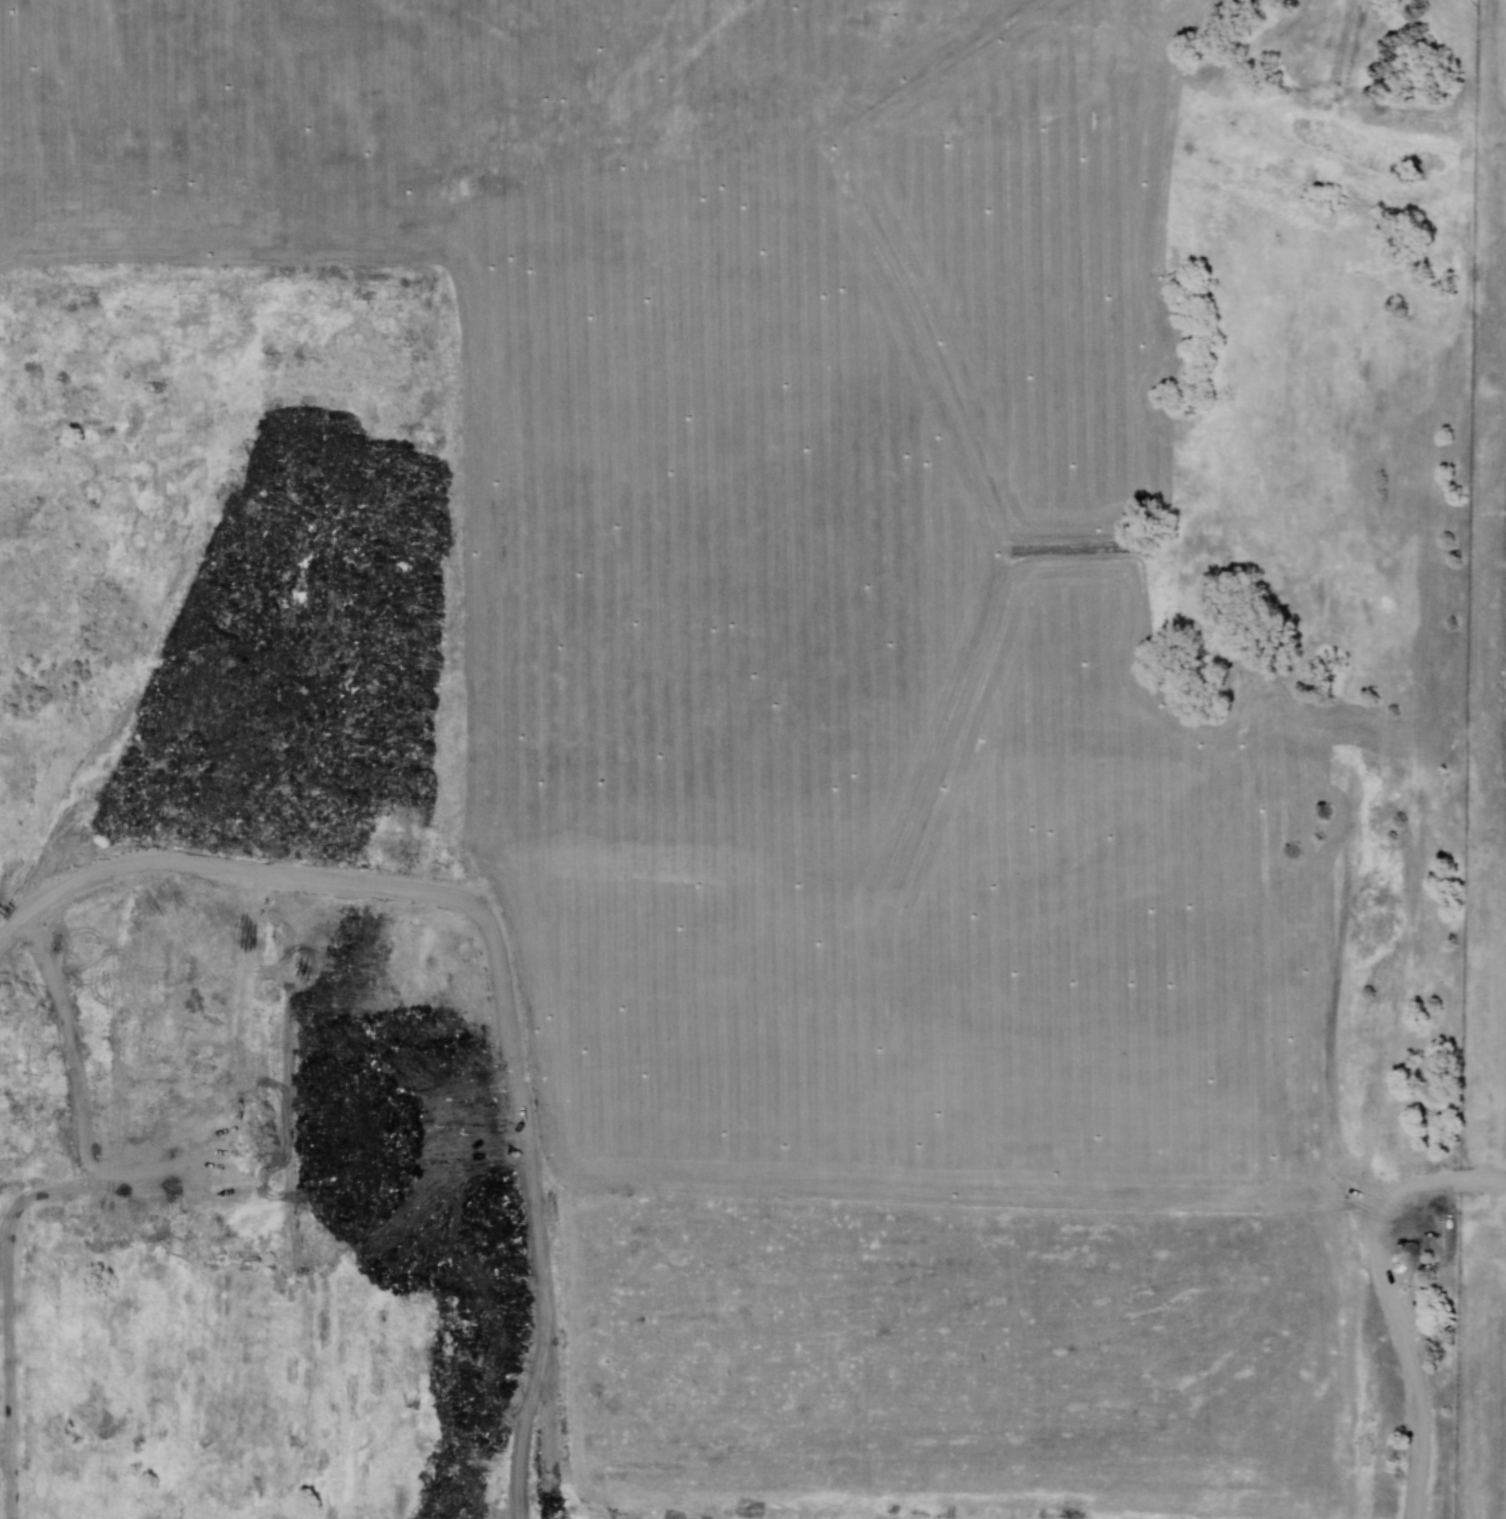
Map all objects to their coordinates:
landfill: (753, 759)
road: (1390, 1300)

